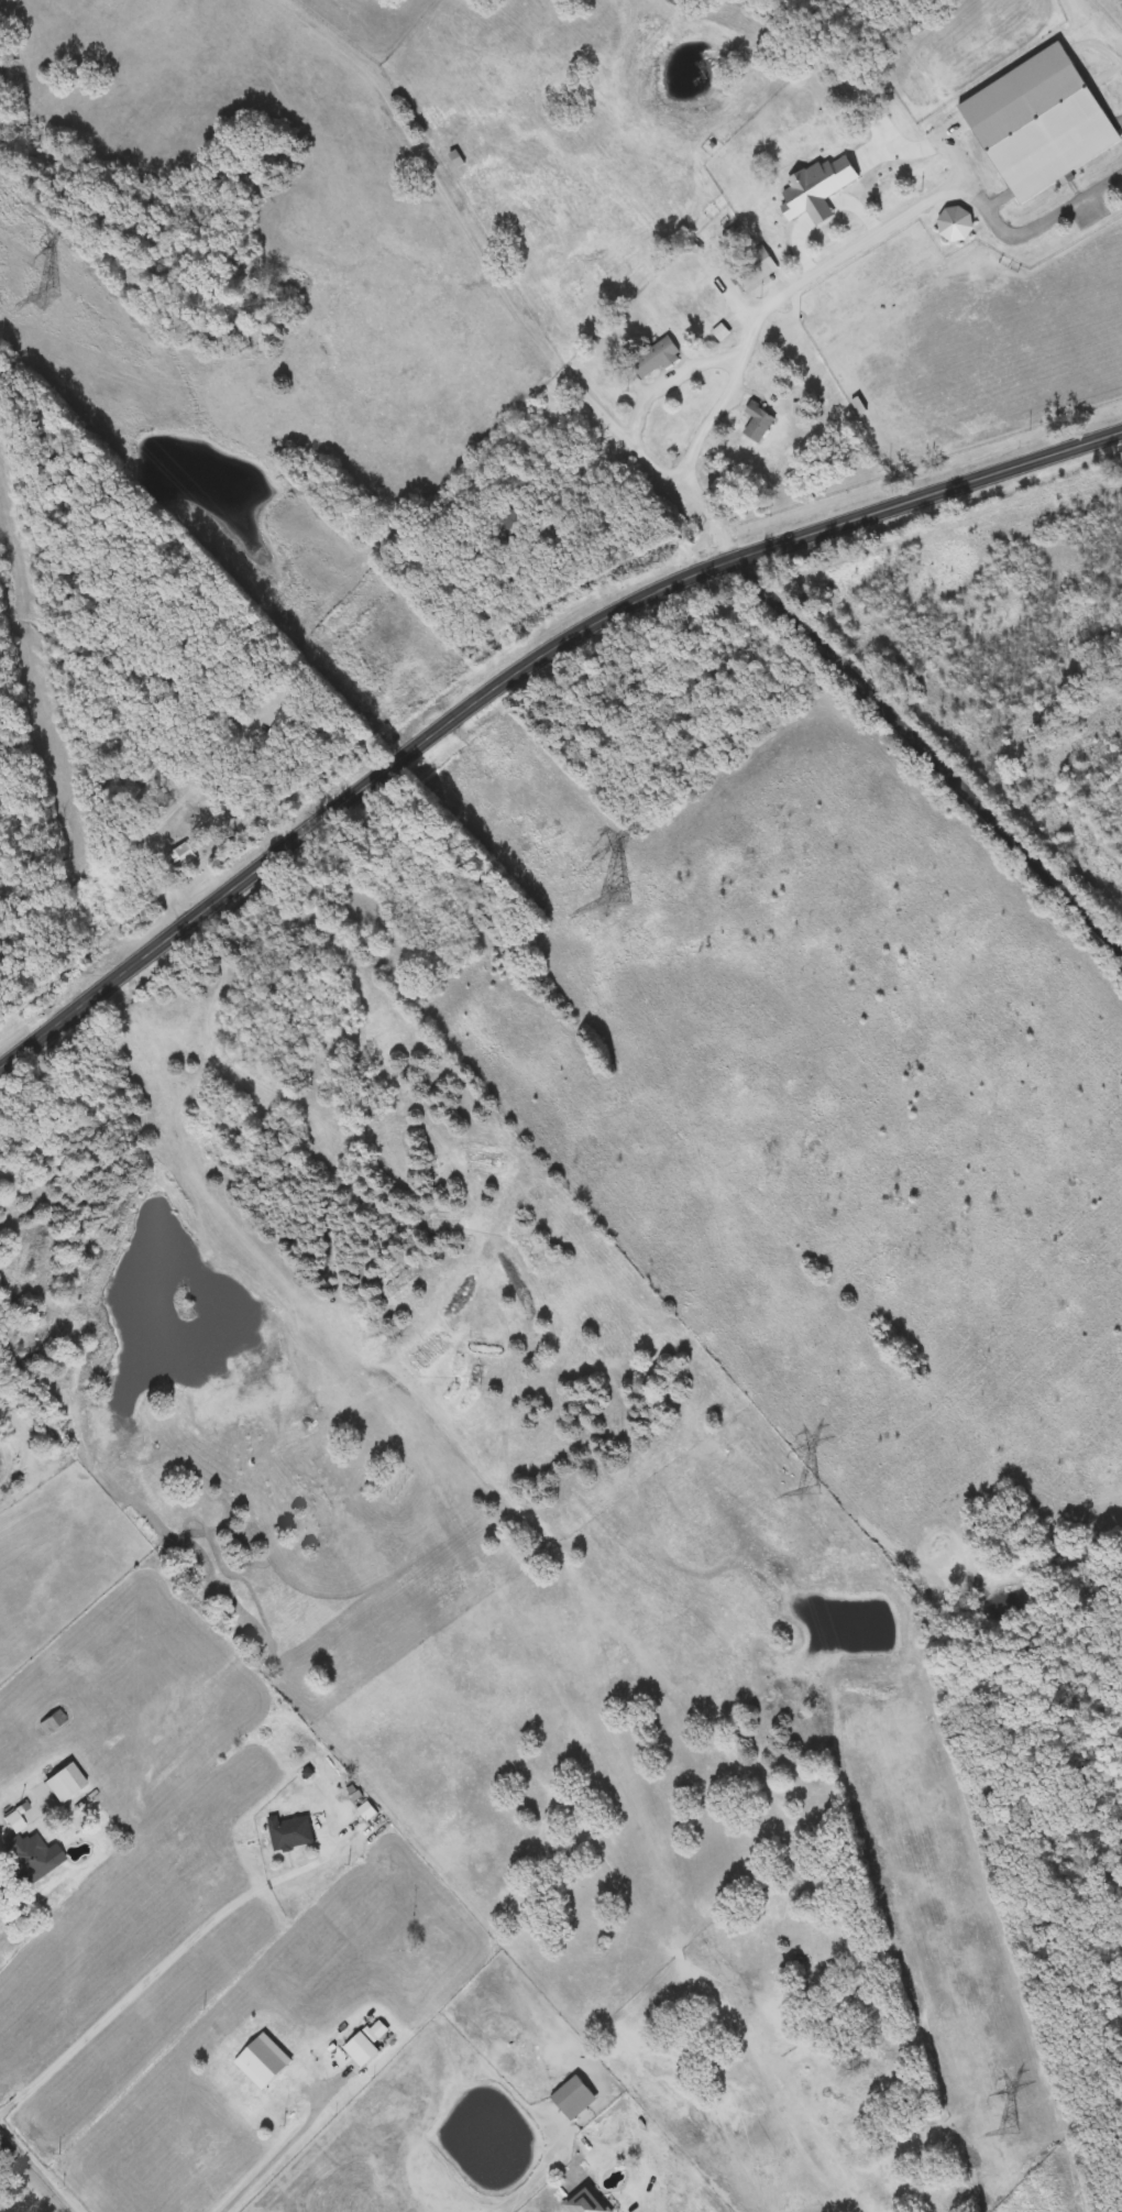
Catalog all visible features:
building: (1046, 135)
road: (942, 195)
building: (836, 215)
building: (957, 223)
road: (501, 281)
power tower: (46, 297)
building: (656, 359)
road: (649, 391)
road: (718, 403)
building: (758, 423)
road: (647, 523)
road: (432, 628)
road: (515, 668)
road: (928, 748)
building: (182, 856)
road: (165, 886)
power tower: (612, 902)
power tower: (811, 1493)
building: (54, 1721)
road: (1, 1829)
building: (293, 1832)
building: (25, 1853)
road: (167, 1965)
building: (362, 2050)
building: (255, 2073)
building: (574, 2099)
power tower: (1008, 2132)
road: (283, 2160)
road: (34, 2172)
building: (586, 2201)
road: (38, 2203)

